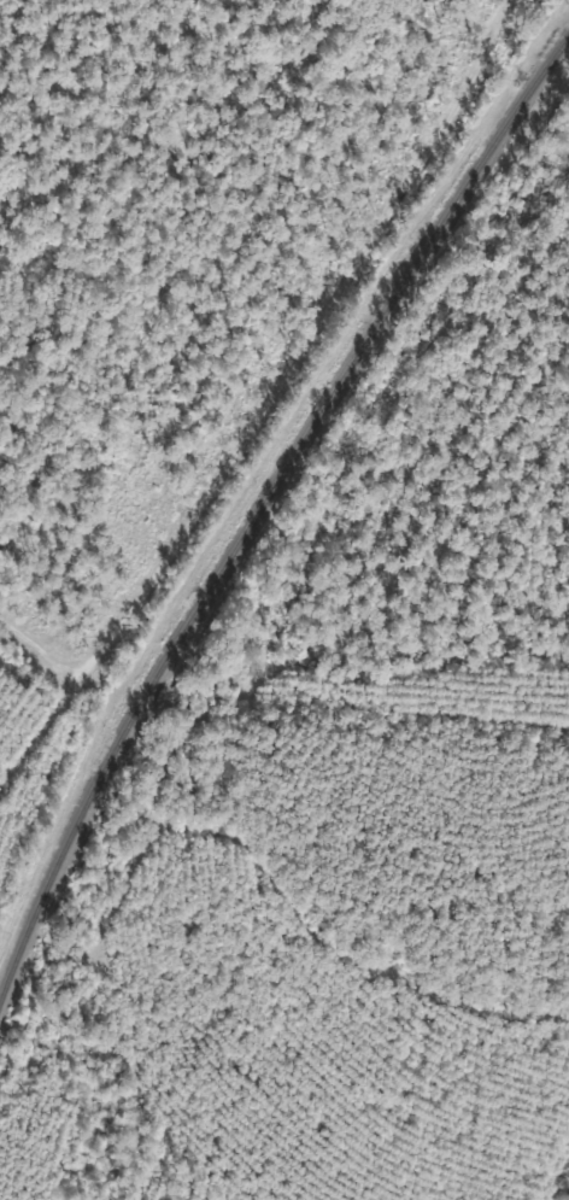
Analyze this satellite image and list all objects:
railway: (258, 508)

